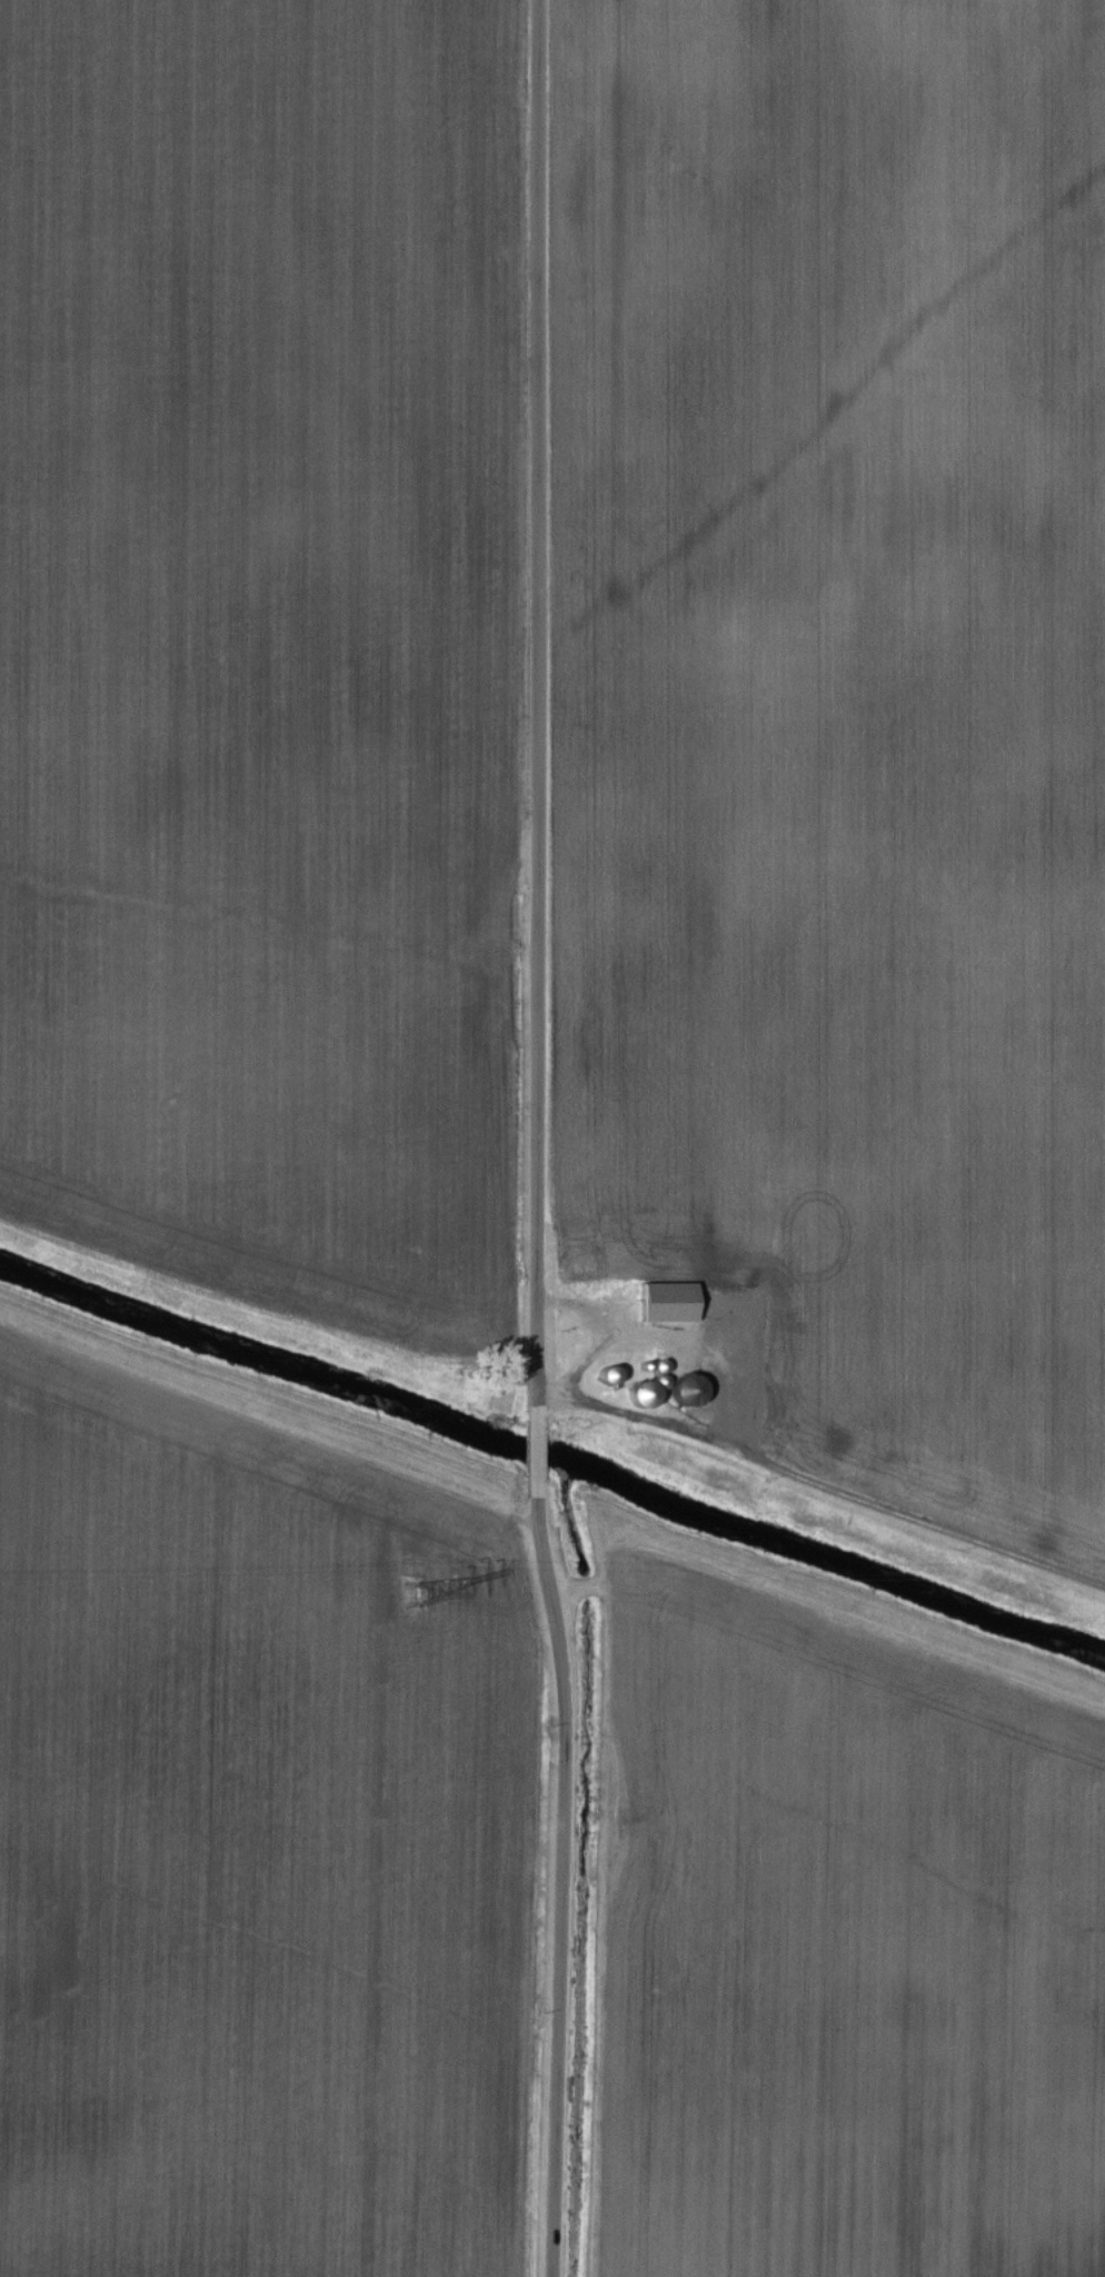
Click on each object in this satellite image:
road: (539, 1140)
building: (668, 1304)
road: (585, 1307)
road: (711, 1363)
power tower: (408, 1579)

